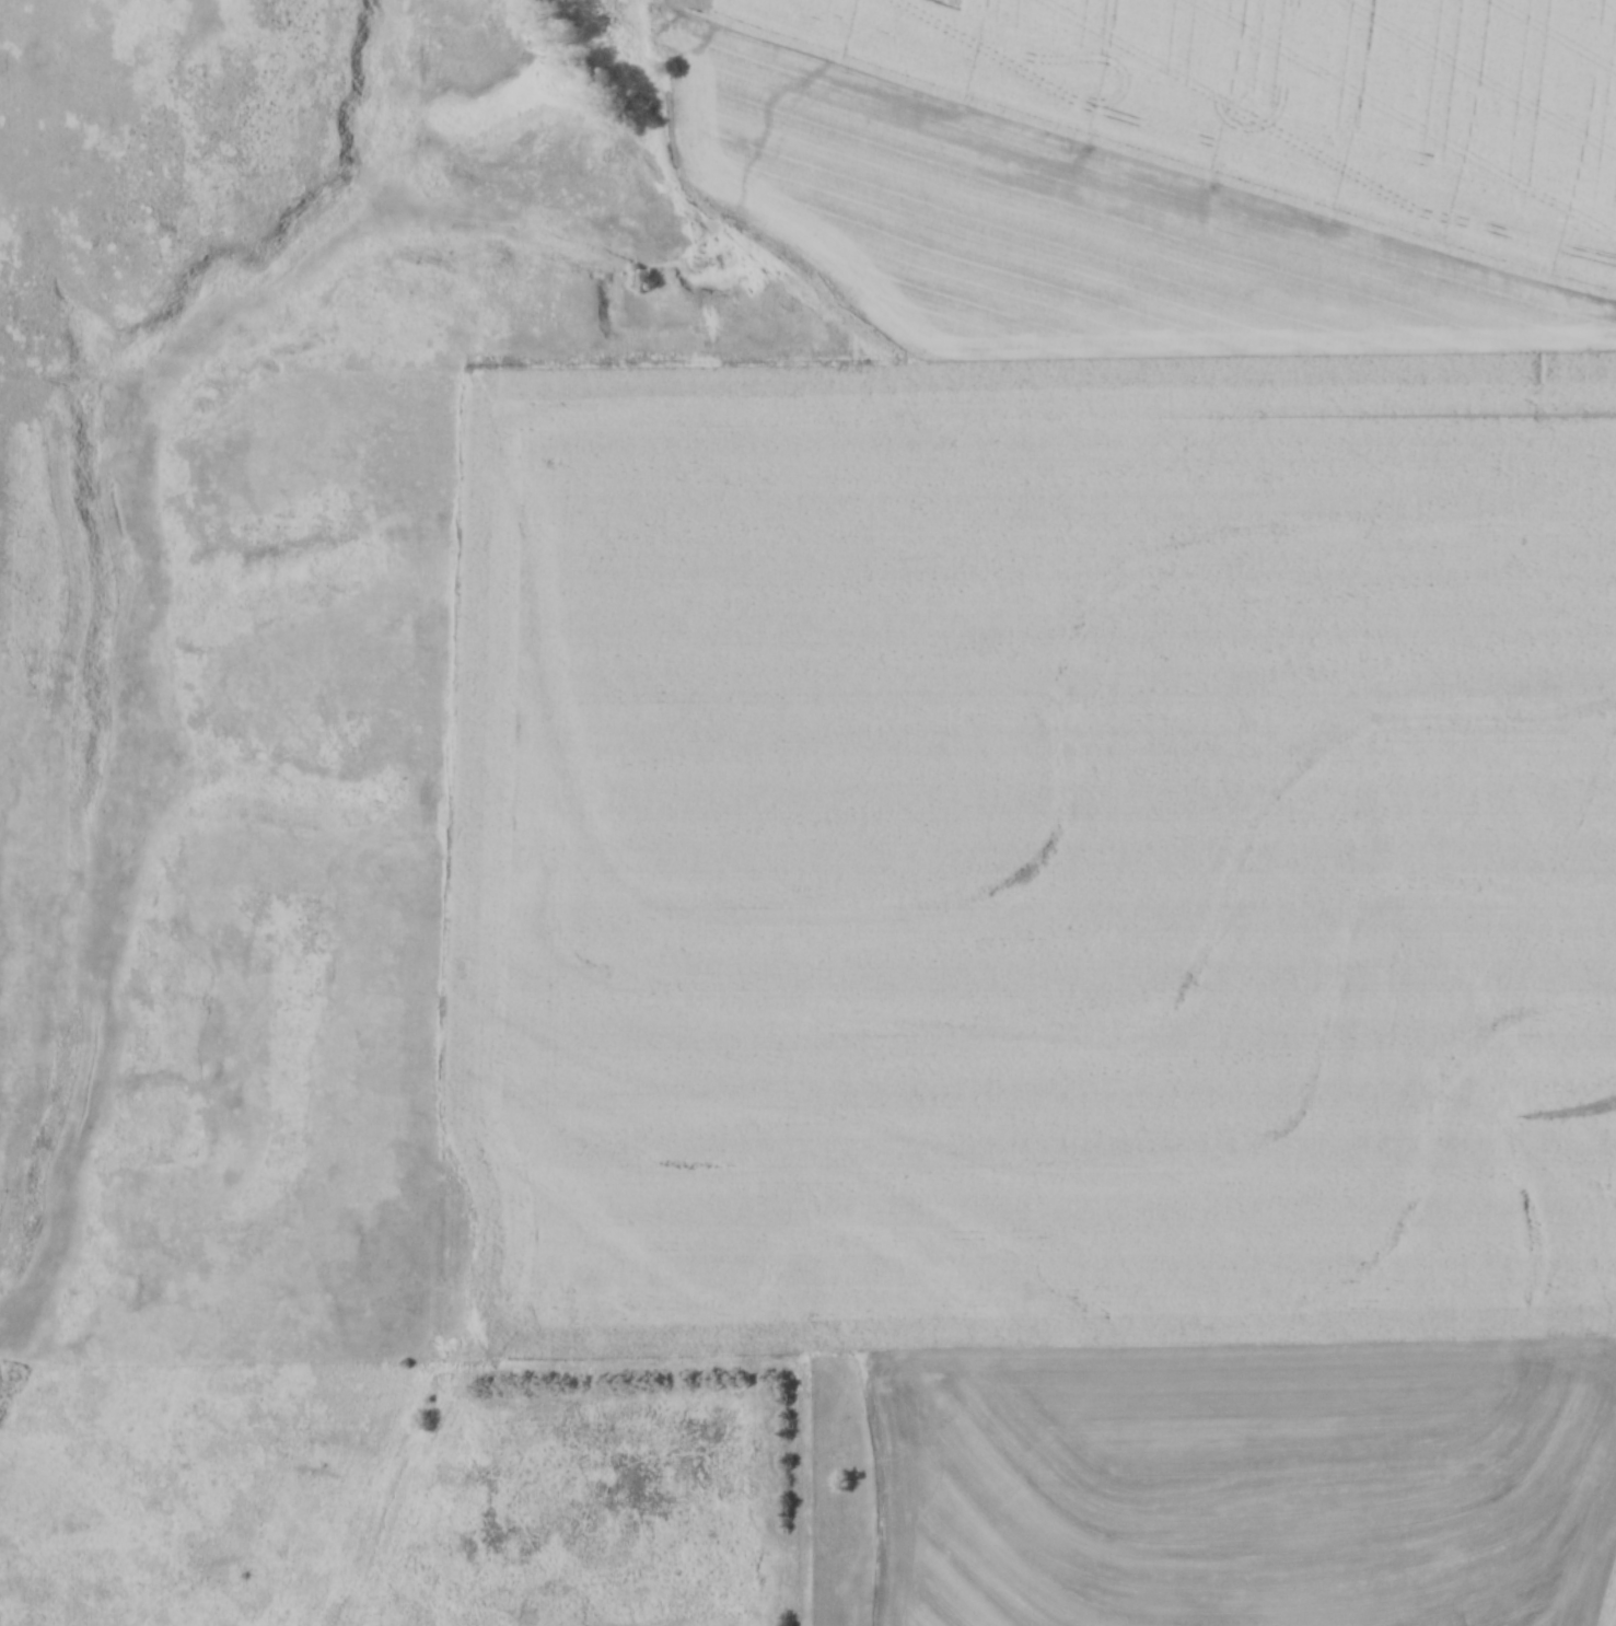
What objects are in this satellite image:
crop: (1307, 100)
crop: (1059, 222)
crop: (1031, 849)
crop: (1248, 1479)
park: (396, 1495)

